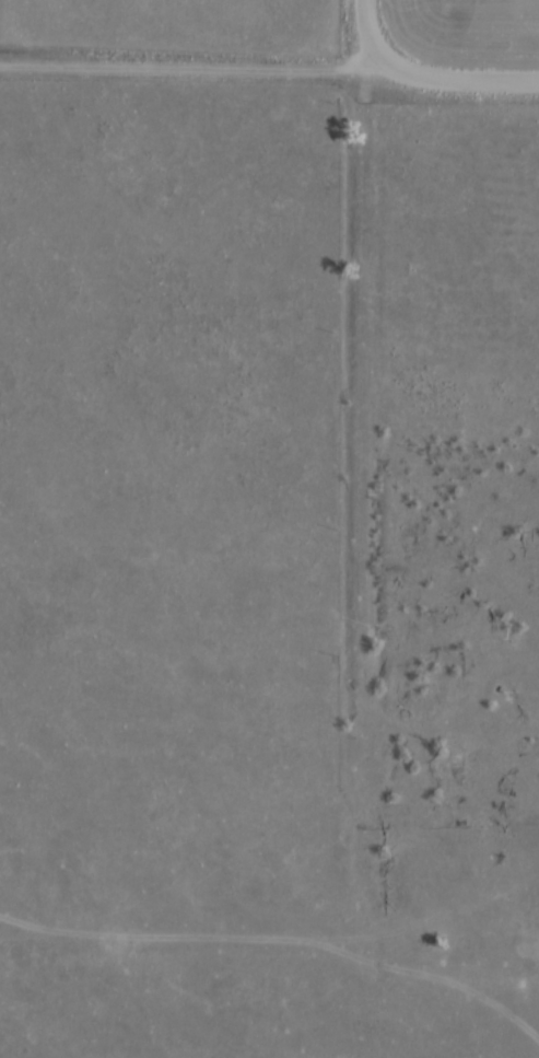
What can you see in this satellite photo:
road: (366, 24)
road: (277, 69)

